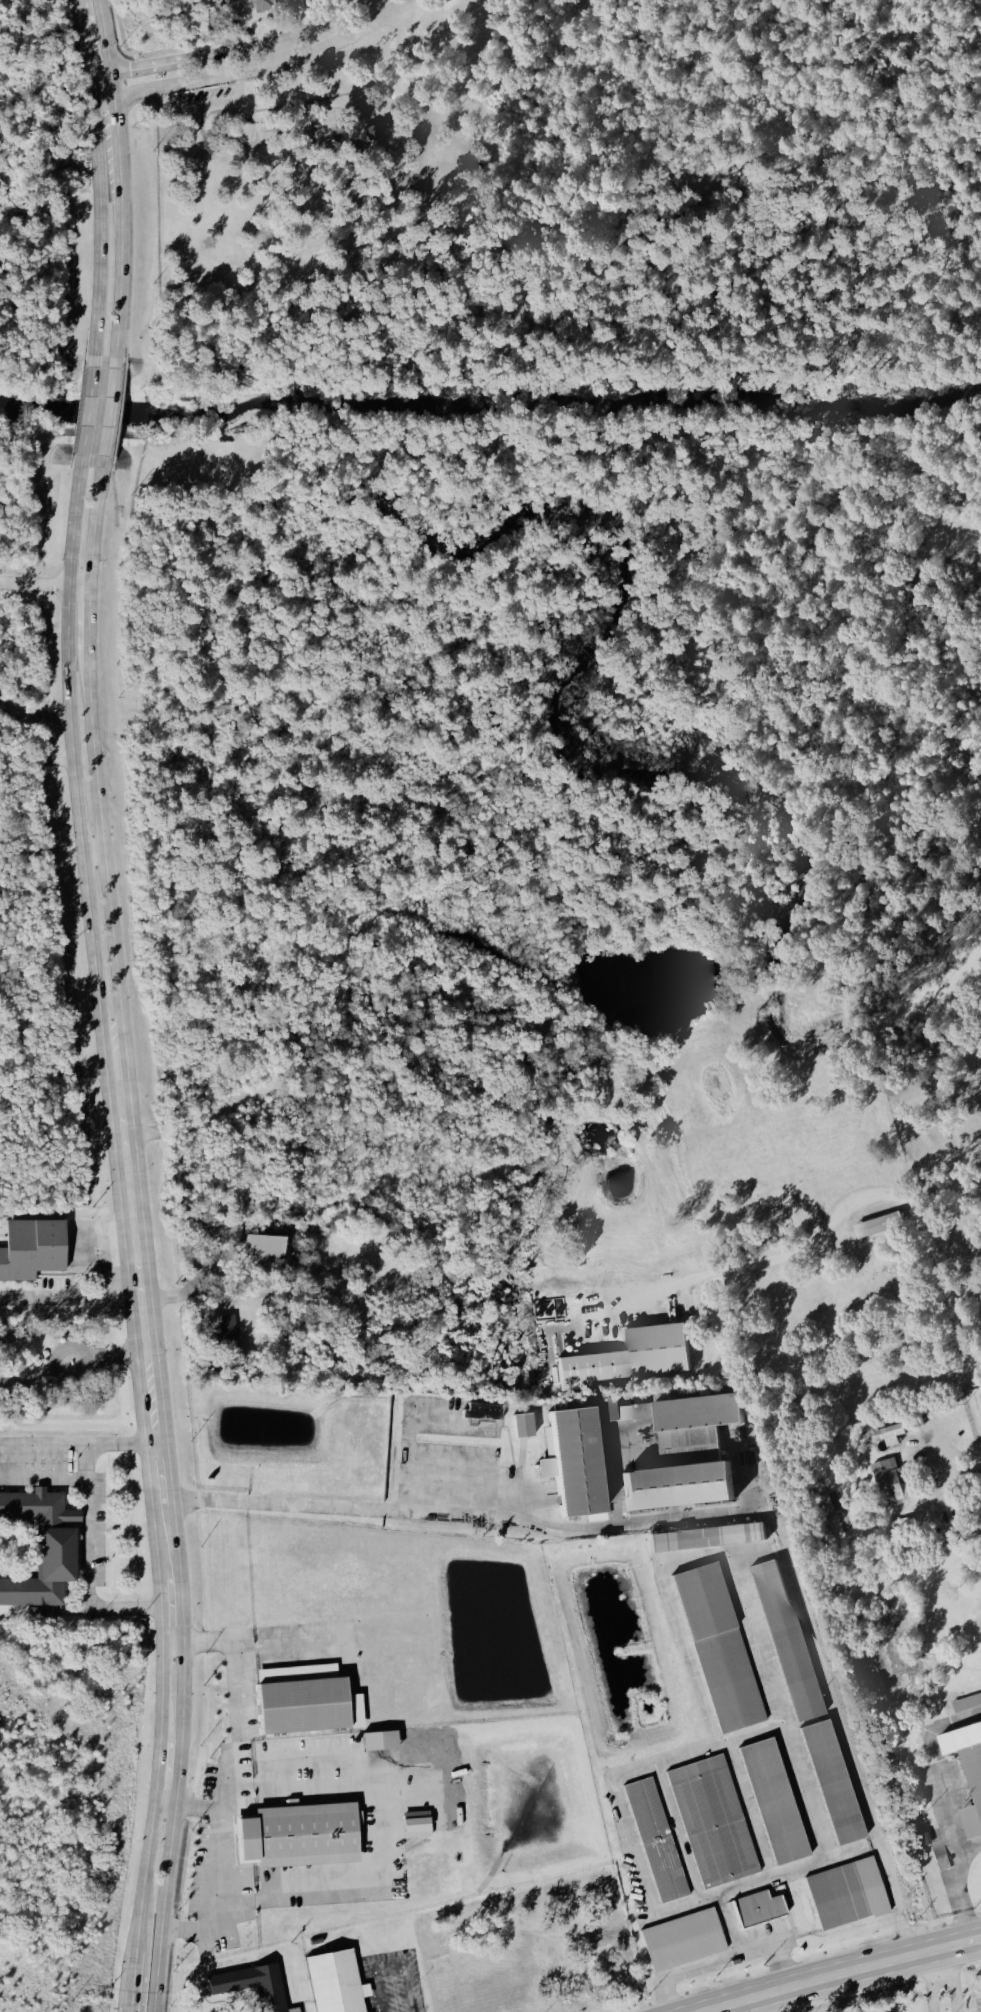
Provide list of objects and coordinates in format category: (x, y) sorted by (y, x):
road: (78, 2)
building: (264, 5)
road: (86, 50)
road: (233, 51)
road: (277, 54)
road: (256, 70)
parking lot: (201, 103)
road: (201, 104)
building: (293, 108)
road: (269, 128)
building: (369, 129)
road: (399, 177)
road: (120, 180)
road: (99, 229)
road: (300, 229)
road: (459, 256)
park: (28, 327)
river: (490, 407)
road: (86, 415)
road: (108, 416)
park: (559, 517)
road: (34, 582)
road: (33, 713)
road: (71, 769)
road: (93, 769)
road: (51, 851)
building: (875, 1221)
building: (31, 1247)
building: (253, 1249)
road: (136, 1255)
road: (763, 1259)
road: (124, 1298)
road: (950, 1303)
road: (71, 1347)
building: (657, 1350)
road: (80, 1352)
road: (67, 1364)
building: (482, 1413)
road: (407, 1417)
building: (518, 1421)
building: (882, 1437)
building: (573, 1441)
road: (885, 1441)
road: (78, 1444)
road: (643, 1464)
road: (742, 1474)
road: (43, 1481)
building: (887, 1482)
building: (669, 1483)
road: (469, 1518)
road: (87, 1527)
building: (702, 1534)
building: (40, 1548)
road: (100, 1609)
building: (781, 1636)
road: (250, 1638)
building: (713, 1645)
building: (301, 1697)
building: (966, 1704)
road: (162, 1708)
road: (182, 1726)
road: (840, 1732)
building: (379, 1740)
road: (361, 1756)
building: (826, 1776)
building: (972, 1790)
building: (768, 1797)
building: (708, 1817)
building: (416, 1826)
building: (292, 1832)
building: (649, 1835)
road: (211, 1857)
building: (841, 1890)
road: (959, 1894)
building: (755, 1907)
building: (678, 1936)
road: (391, 1968)
road: (840, 1972)
road: (954, 1979)
building: (332, 1981)
road: (931, 1981)
building: (249, 1982)
road: (133, 1993)
park: (929, 1998)
road: (735, 2007)

